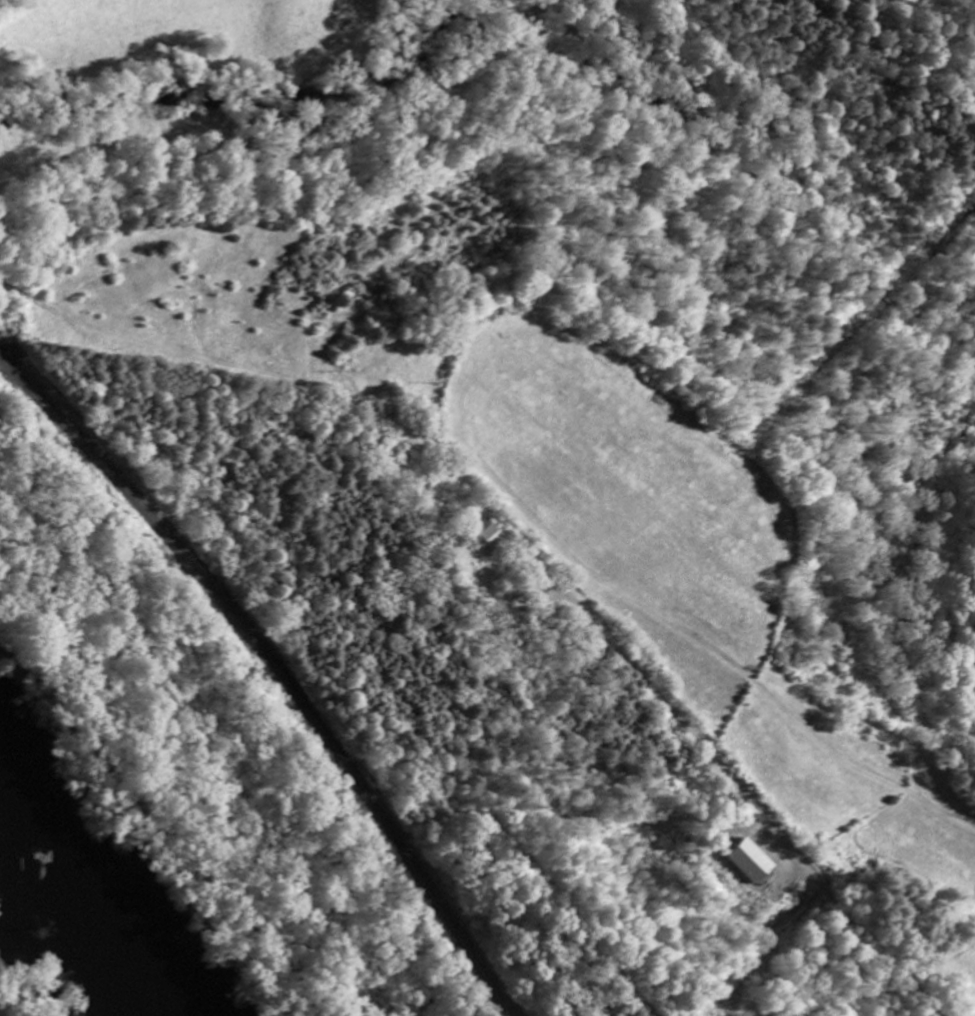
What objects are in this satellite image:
road: (769, 595)
railway: (277, 673)
road: (754, 799)
building: (749, 863)
river: (90, 896)

